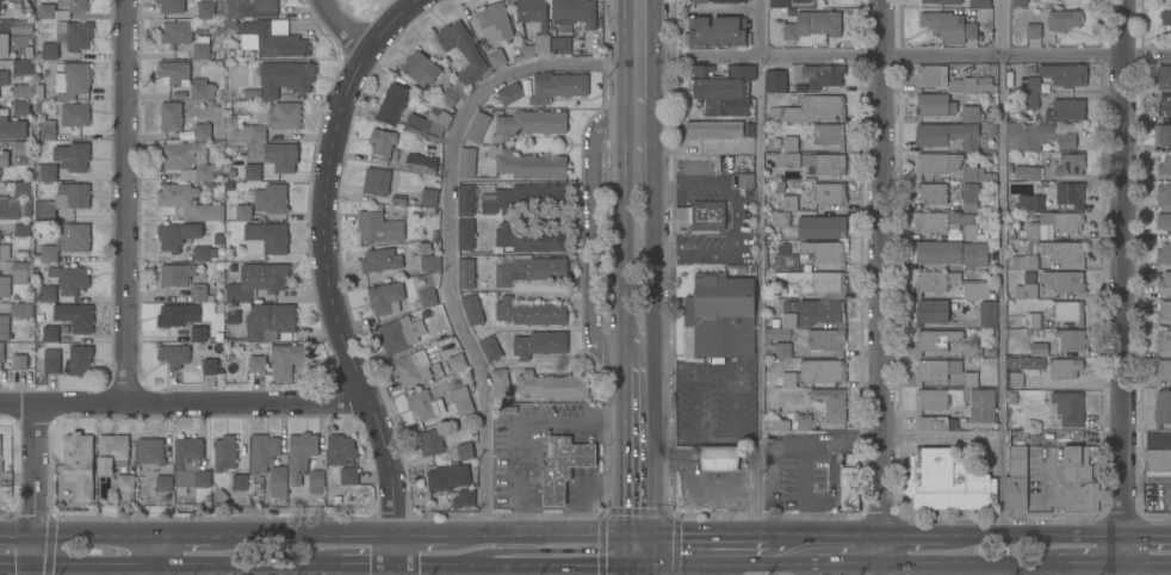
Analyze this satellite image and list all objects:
building: (700, 0)
building: (729, 0)
building: (801, 0)
building: (942, 1)
building: (779, 2)
building: (977, 2)
building: (1018, 2)
building: (1170, 2)
building: (172, 5)
building: (266, 7)
building: (62, 10)
building: (206, 10)
building: (575, 12)
building: (1166, 17)
building: (1064, 19)
building: (495, 21)
building: (21, 26)
road: (341, 26)
building: (813, 26)
building: (948, 26)
building: (543, 29)
building: (1034, 30)
building: (176, 31)
building: (718, 31)
building: (68, 38)
building: (271, 38)
building: (2, 44)
building: (560, 44)
building: (200, 47)
building: (463, 50)
building: (496, 56)
road: (912, 56)
building: (21, 67)
building: (422, 68)
building: (174, 72)
building: (1064, 74)
building: (823, 75)
building: (285, 76)
building: (930, 76)
building: (4, 78)
building: (1164, 78)
building: (73, 80)
building: (775, 80)
building: (973, 85)
building: (558, 87)
building: (202, 88)
road: (656, 88)
building: (723, 88)
building: (27, 89)
building: (454, 92)
building: (1033, 92)
building: (509, 93)
building: (392, 103)
building: (934, 104)
building: (1164, 104)
building: (21, 107)
building: (811, 109)
building: (1066, 109)
building: (971, 113)
building: (75, 115)
building: (280, 115)
building: (171, 116)
building: (429, 123)
building: (529, 123)
building: (477, 126)
building: (12, 128)
building: (714, 128)
building: (990, 130)
building: (50, 131)
building: (203, 131)
building: (247, 132)
building: (829, 134)
building: (947, 135)
building: (1027, 135)
building: (1164, 135)
building: (1066, 141)
building: (383, 142)
building: (789, 143)
building: (21, 152)
building: (181, 154)
building: (72, 155)
building: (281, 156)
building: (4, 159)
building: (792, 159)
building: (466, 162)
building: (825, 162)
building: (421, 163)
building: (527, 163)
building: (936, 163)
building: (1070, 165)
building: (1165, 165)
building: (252, 171)
building: (45, 172)
building: (199, 172)
building: (1024, 172)
building: (975, 173)
road: (624, 177)
building: (376, 180)
building: (745, 180)
road: (695, 184)
building: (21, 187)
building: (829, 192)
building: (933, 193)
building: (1068, 193)
building: (1164, 193)
building: (428, 196)
building: (522, 196)
building: (969, 196)
building: (271, 198)
building: (466, 199)
road: (126, 200)
building: (1030, 202)
building: (188, 203)
building: (786, 203)
building: (13, 208)
building: (240, 211)
building: (44, 215)
building: (706, 215)
building: (781, 218)
road: (1000, 218)
building: (1164, 220)
building: (947, 222)
building: (1067, 222)
road: (448, 223)
building: (378, 225)
building: (819, 227)
building: (21, 229)
building: (465, 234)
building: (176, 235)
road: (589, 235)
building: (268, 236)
building: (528, 237)
building: (1053, 247)
building: (205, 252)
building: (824, 252)
building: (952, 252)
building: (5, 253)
building: (47, 253)
road: (720, 253)
building: (1164, 253)
building: (380, 259)
road: (323, 260)
building: (429, 261)
building: (785, 261)
building: (1023, 261)
building: (529, 270)
building: (21, 272)
building: (465, 272)
building: (176, 273)
road: (878, 274)
road: (758, 277)
building: (69, 280)
building: (258, 280)
building: (935, 280)
building: (1061, 280)
building: (818, 282)
building: (1164, 283)
building: (5, 286)
building: (1027, 286)
road: (1122, 287)
building: (975, 289)
building: (788, 290)
building: (198, 292)
building: (48, 293)
building: (386, 297)
building: (426, 297)
building: (21, 309)
building: (472, 310)
building: (529, 311)
building: (817, 311)
building: (931, 311)
building: (1068, 311)
building: (1164, 311)
building: (987, 313)
building: (178, 314)
building: (720, 315)
building: (75, 316)
building: (269, 321)
building: (1030, 321)
building: (4, 327)
building: (780, 328)
building: (198, 333)
building: (401, 333)
building: (50, 334)
building: (1070, 339)
building: (1163, 339)
building: (826, 340)
building: (935, 340)
building: (539, 344)
building: (490, 347)
building: (1039, 347)
building: (782, 348)
building: (971, 350)
building: (287, 353)
building: (174, 354)
building: (1, 358)
building: (79, 359)
building: (19, 361)
building: (51, 361)
building: (456, 361)
building: (256, 363)
building: (1026, 364)
road: (655, 365)
building: (211, 366)
building: (411, 367)
building: (1064, 367)
building: (936, 370)
building: (1163, 370)
building: (810, 372)
building: (1015, 379)
building: (501, 383)
building: (552, 385)
road: (624, 392)
building: (456, 394)
road: (184, 402)
building: (831, 402)
building: (938, 402)
building: (425, 404)
building: (1068, 407)
building: (1163, 407)
building: (768, 413)
building: (733, 414)
road: (520, 428)
road: (938, 437)
building: (1158, 439)
building: (430, 443)
building: (340, 449)
building: (150, 450)
building: (464, 450)
building: (262, 451)
building: (224, 452)
building: (301, 452)
building: (718, 457)
building: (1157, 462)
building: (190, 463)
building: (79, 464)
building: (114, 465)
building: (563, 465)
building: (0, 466)
building: (348, 476)
building: (447, 477)
building: (1016, 478)
building: (278, 481)
building: (315, 481)
building: (1078, 481)
building: (163, 482)
building: (240, 482)
building: (944, 482)
road: (35, 483)
building: (848, 484)
building: (0, 486)
road: (625, 490)
building: (218, 496)
building: (465, 497)
road: (1053, 500)
road: (638, 514)
road: (1145, 533)
road: (922, 534)
road: (1045, 534)
traffic signals: (35, 539)
road: (78, 539)
road: (199, 539)
road: (322, 539)
road: (442, 539)
road: (562, 539)
road: (601, 544)
road: (675, 544)
road: (835, 549)
road: (713, 550)
road: (402, 554)
road: (157, 557)
road: (637, 562)
road: (715, 562)
road: (880, 562)
road: (1077, 562)
road: (1145, 562)
road: (955, 563)
road: (557, 564)
road: (17, 567)
traffic signals: (35, 567)
road: (172, 567)
road: (357, 567)
road: (438, 567)
road: (526, 569)
road: (1000, 569)
road: (401, 571)

